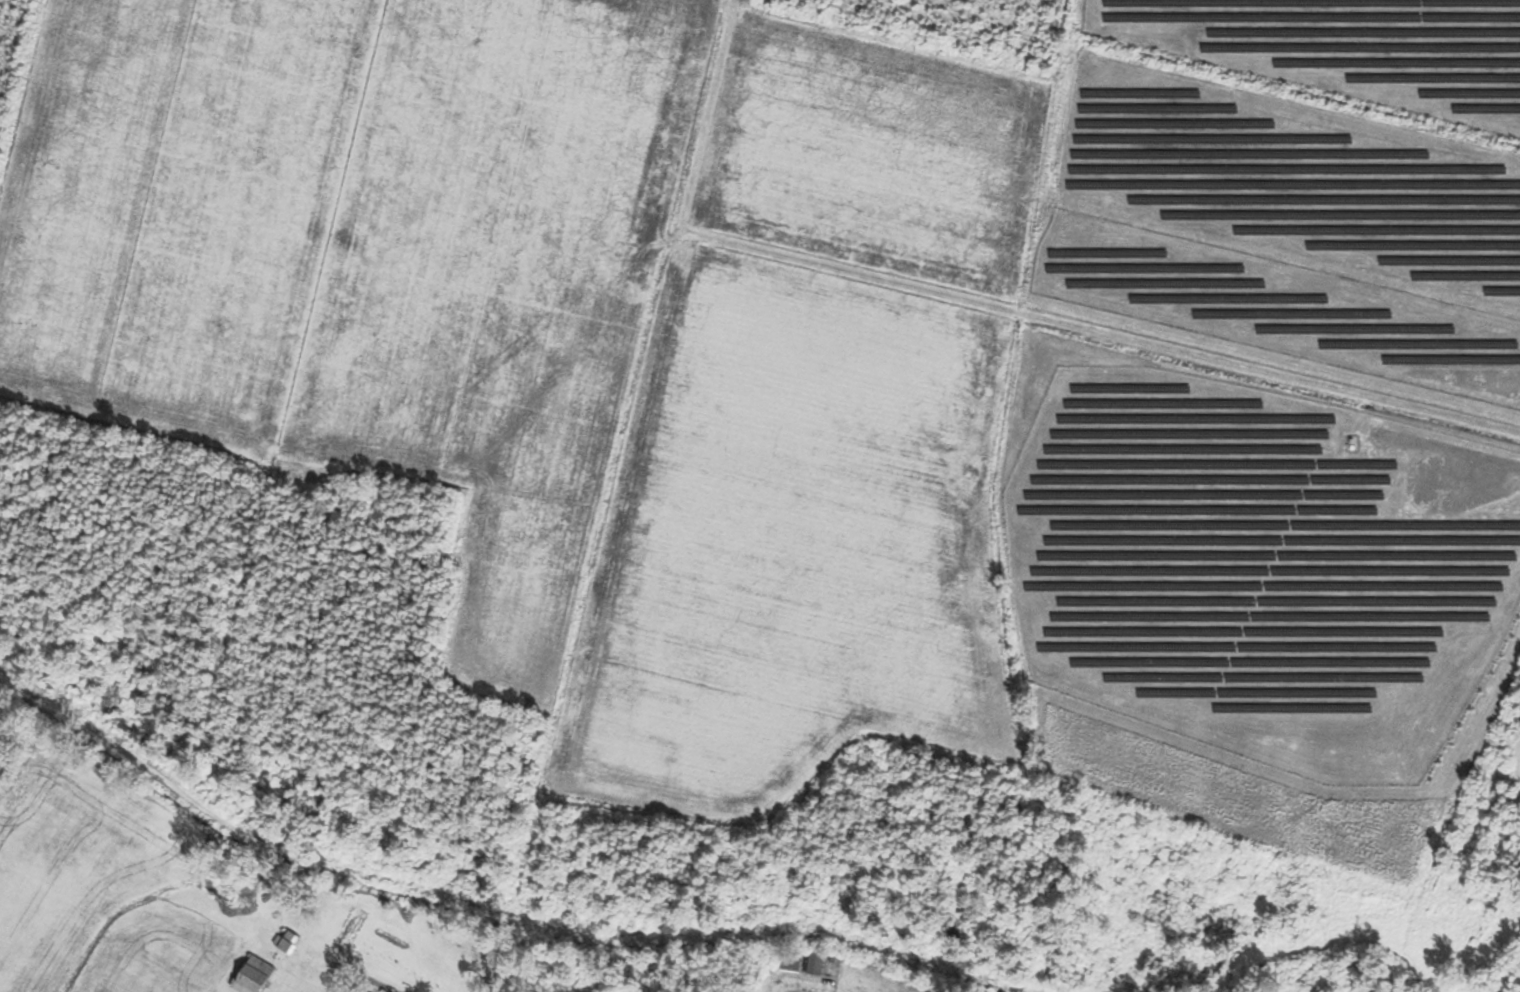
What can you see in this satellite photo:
building: (287, 940)
building: (794, 963)
building: (817, 963)
building: (256, 976)
road: (772, 981)

